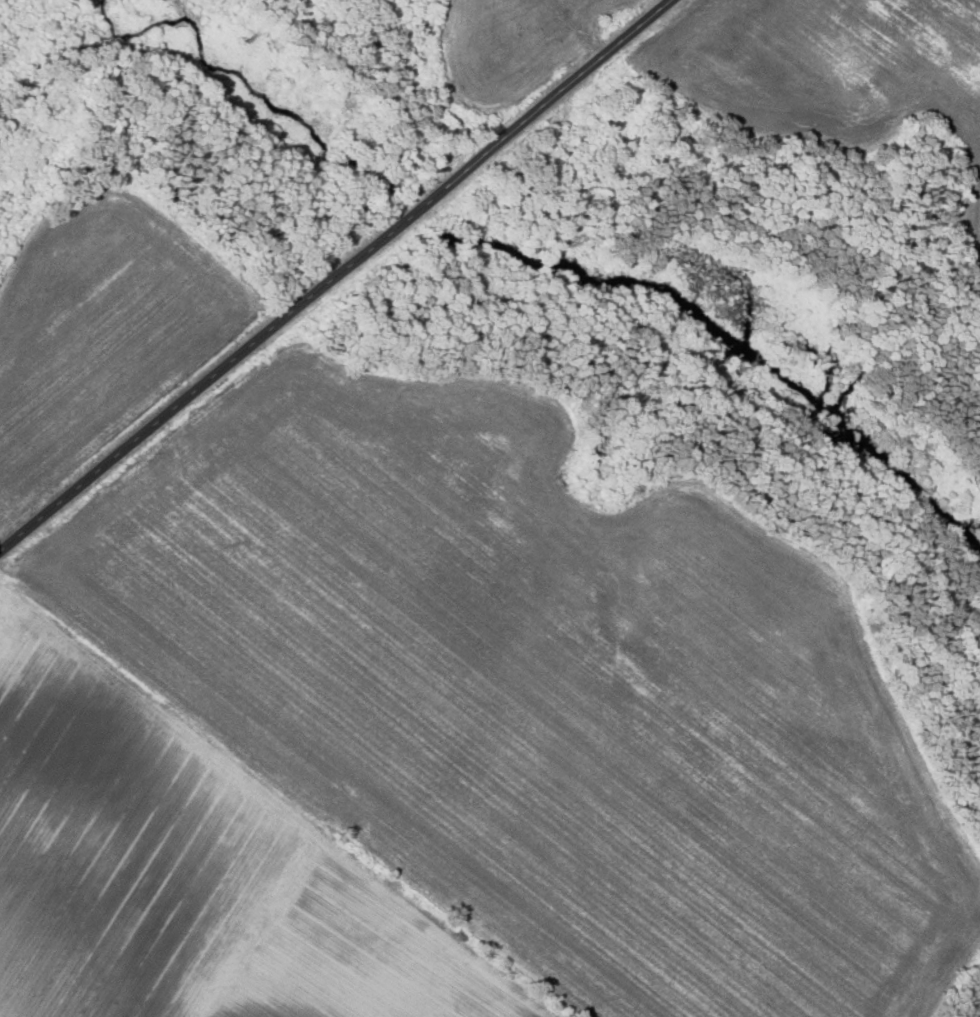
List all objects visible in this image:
road: (334, 274)

